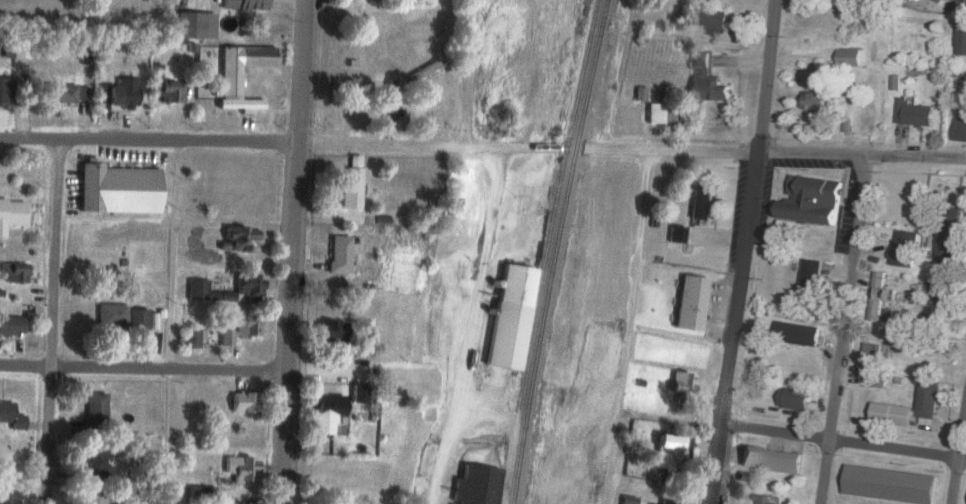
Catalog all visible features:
building: (344, 0)
building: (939, 0)
building: (964, 0)
building: (409, 2)
building: (241, 4)
building: (707, 16)
building: (187, 25)
building: (961, 38)
building: (14, 50)
building: (636, 53)
building: (84, 56)
building: (849, 57)
road: (465, 73)
building: (706, 80)
building: (227, 82)
building: (4, 90)
building: (171, 91)
building: (65, 93)
building: (118, 93)
building: (816, 99)
building: (387, 100)
building: (663, 113)
building: (913, 113)
building: (960, 128)
road: (483, 146)
building: (350, 187)
building: (117, 189)
building: (813, 200)
building: (701, 202)
road: (643, 207)
building: (11, 213)
building: (677, 234)
building: (948, 236)
building: (239, 239)
building: (904, 248)
railway: (544, 251)
railway: (555, 251)
road: (740, 251)
road: (291, 252)
building: (337, 254)
building: (14, 272)
building: (811, 274)
building: (246, 286)
building: (936, 290)
building: (204, 292)
building: (879, 296)
building: (692, 303)
building: (111, 315)
building: (510, 317)
building: (137, 319)
building: (151, 320)
road: (52, 322)
building: (11, 325)
road: (844, 328)
building: (232, 329)
building: (328, 331)
building: (796, 333)
building: (189, 339)
road: (465, 348)
building: (871, 360)
road: (142, 368)
road: (335, 375)
building: (683, 383)
road: (620, 384)
building: (357, 393)
building: (387, 396)
building: (794, 399)
building: (928, 400)
building: (240, 402)
building: (96, 409)
building: (324, 414)
building: (894, 414)
building: (11, 416)
road: (843, 445)
building: (667, 452)
building: (771, 459)
road: (958, 463)
building: (95, 465)
building: (240, 469)
building: (744, 481)
building: (891, 484)
building: (477, 485)
building: (200, 492)
building: (92, 499)
building: (764, 499)
building: (628, 500)
building: (668, 501)

